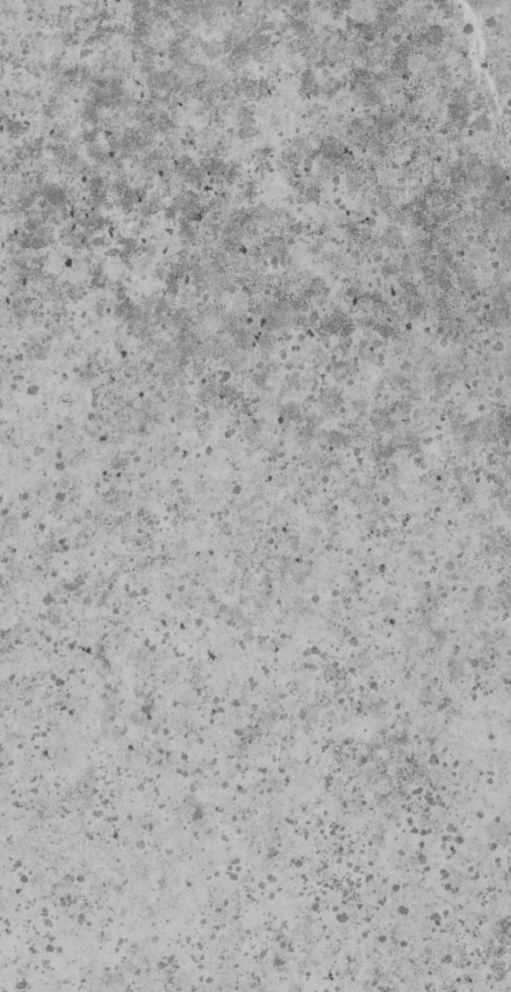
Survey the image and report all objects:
road: (452, 83)

